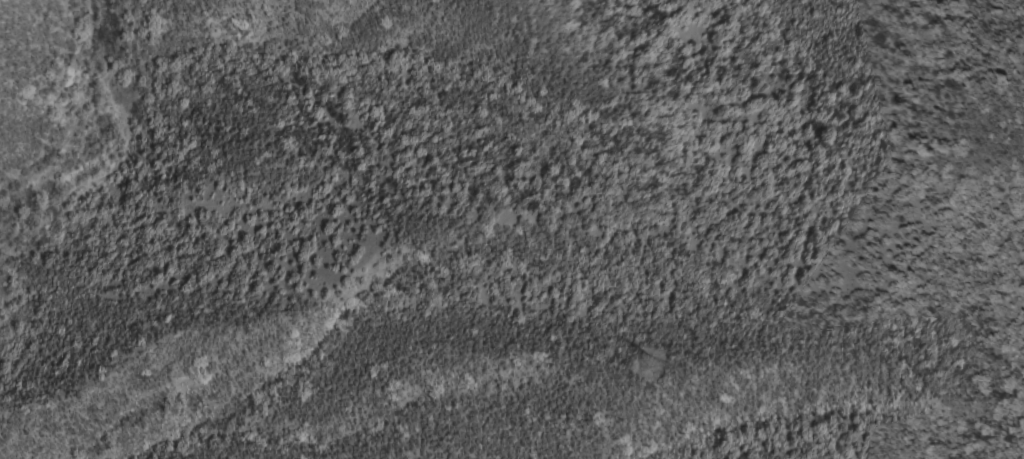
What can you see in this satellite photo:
power tower: (661, 353)

